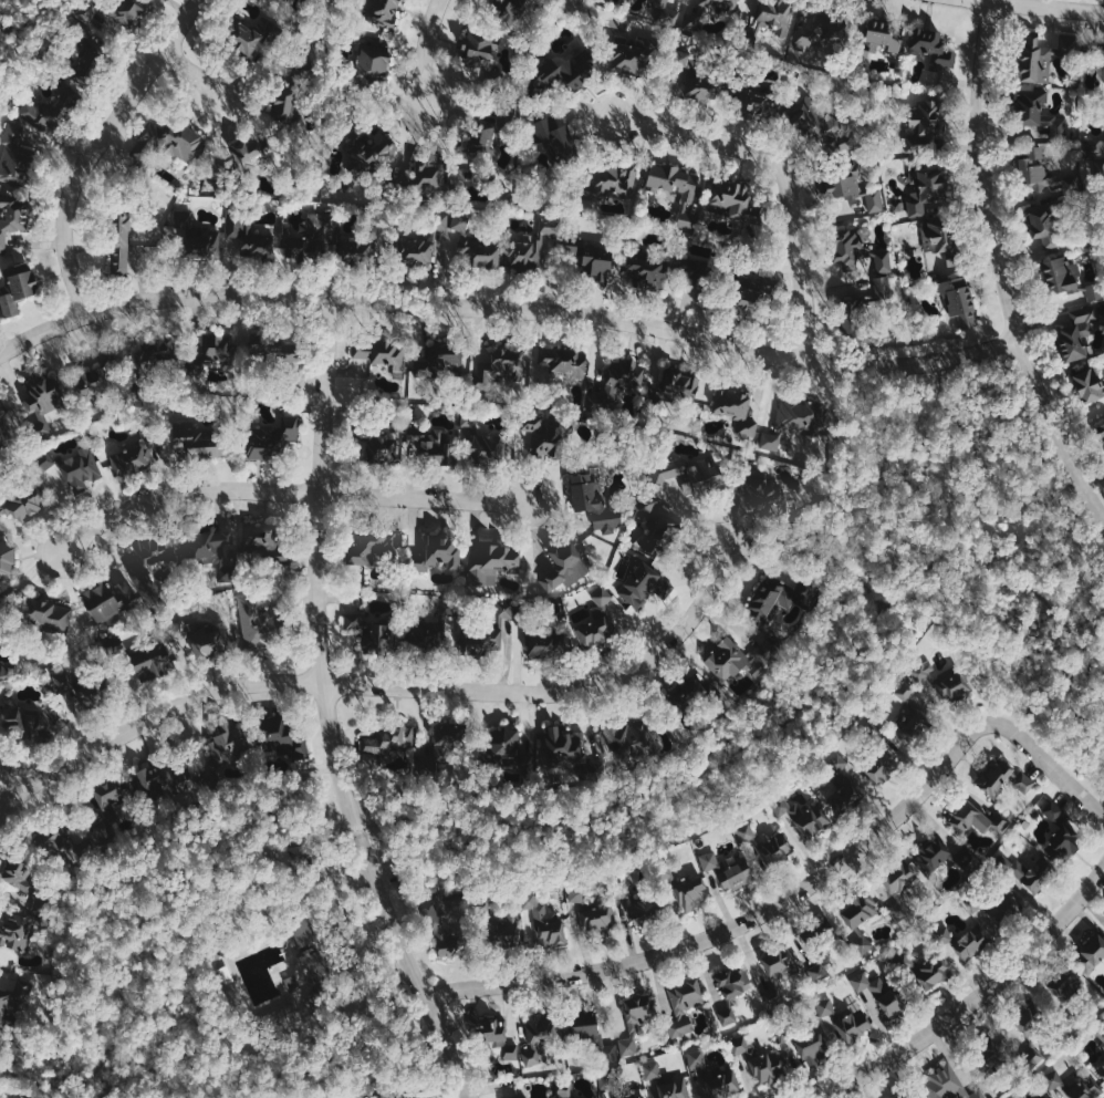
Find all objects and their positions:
building: (283, 1)
building: (722, 6)
road: (1044, 6)
building: (382, 12)
road: (9, 13)
building: (509, 13)
building: (115, 14)
building: (665, 14)
building: (775, 15)
building: (822, 31)
building: (883, 33)
building: (242, 35)
building: (83, 39)
building: (931, 46)
road: (424, 50)
building: (1042, 54)
building: (626, 56)
building: (1103, 56)
building: (480, 58)
building: (84, 62)
building: (371, 69)
road: (195, 73)
building: (563, 74)
building: (698, 90)
building: (754, 102)
building: (49, 107)
building: (282, 107)
building: (1038, 111)
building: (822, 128)
building: (924, 131)
building: (168, 142)
building: (485, 142)
building: (556, 142)
building: (1094, 145)
road: (96, 146)
building: (369, 152)
building: (248, 153)
building: (14, 155)
building: (1098, 166)
building: (1044, 173)
road: (787, 174)
building: (426, 179)
building: (606, 185)
building: (925, 187)
building: (853, 188)
building: (677, 190)
building: (730, 201)
building: (9, 219)
building: (1053, 222)
building: (752, 228)
building: (196, 237)
building: (942, 237)
building: (119, 238)
building: (309, 238)
building: (247, 240)
building: (420, 242)
building: (473, 246)
building: (848, 246)
building: (357, 248)
building: (531, 249)
building: (591, 257)
building: (134, 258)
building: (883, 262)
road: (1000, 268)
building: (643, 270)
building: (1067, 277)
building: (17, 287)
building: (884, 288)
building: (747, 300)
building: (958, 301)
road: (508, 304)
building: (850, 317)
building: (1079, 330)
building: (218, 349)
building: (263, 349)
building: (383, 358)
building: (446, 360)
building: (510, 360)
building: (293, 362)
building: (562, 366)
building: (624, 377)
building: (485, 380)
building: (88, 383)
building: (1089, 383)
building: (679, 384)
building: (42, 403)
building: (738, 414)
building: (794, 416)
building: (468, 419)
building: (6, 423)
building: (1100, 429)
building: (271, 436)
building: (537, 438)
building: (771, 439)
building: (198, 444)
building: (382, 445)
building: (434, 446)
building: (485, 449)
building: (132, 456)
building: (74, 467)
road: (978, 472)
building: (687, 479)
building: (764, 490)
road: (289, 491)
building: (27, 503)
building: (594, 503)
building: (0, 521)
building: (664, 521)
building: (263, 536)
building: (215, 548)
building: (366, 548)
road: (815, 552)
building: (437, 553)
building: (280, 559)
building: (7, 560)
building: (492, 561)
building: (567, 566)
building: (643, 584)
building: (775, 600)
building: (110, 601)
building: (50, 617)
building: (256, 621)
building: (598, 621)
building: (490, 630)
building: (202, 633)
building: (371, 633)
building: (542, 644)
building: (728, 659)
building: (150, 661)
building: (923, 670)
building: (3, 672)
building: (956, 683)
road: (381, 685)
building: (906, 690)
road: (326, 709)
building: (913, 724)
building: (30, 726)
building: (874, 729)
building: (281, 738)
building: (390, 738)
building: (444, 738)
building: (506, 740)
building: (629, 742)
building: (228, 743)
building: (563, 746)
building: (376, 758)
building: (882, 765)
building: (994, 775)
building: (159, 779)
road: (7, 783)
building: (1027, 783)
building: (843, 785)
building: (107, 795)
road: (1100, 799)
road: (581, 810)
building: (803, 816)
building: (969, 817)
building: (746, 830)
building: (1062, 835)
building: (777, 847)
building: (934, 854)
building: (710, 860)
building: (1028, 871)
building: (20, 873)
building: (666, 876)
building: (737, 876)
building: (898, 878)
road: (804, 884)
building: (691, 894)
parking lot: (364, 905)
building: (1006, 905)
building: (860, 909)
building: (591, 912)
building: (545, 921)
building: (442, 926)
building: (504, 930)
building: (302, 931)
building: (19, 932)
park: (298, 935)
building: (820, 935)
building: (862, 941)
building: (966, 941)
building: (1091, 953)
building: (782, 963)
building: (924, 968)
parking lot: (392, 971)
building: (820, 971)
building: (315, 976)
building: (735, 982)
building: (1064, 984)
building: (881, 992)
building: (869, 997)
road: (976, 998)
building: (685, 1005)
building: (6, 1006)
building: (826, 1006)
building: (728, 1016)
building: (636, 1022)
building: (854, 1022)
building: (586, 1026)
building: (539, 1035)
building: (1101, 1035)
building: (491, 1037)
building: (810, 1048)
building: (511, 1052)
building: (1034, 1055)
building: (760, 1059)
building: (1101, 1068)
building: (653, 1069)
building: (716, 1074)
road: (28, 1079)
building: (1075, 1084)
building: (949, 1085)
building: (675, 1088)
building: (565, 1090)
building: (518, 1096)
building: (631, 1096)
building: (906, 1097)
building: (920, 1097)
building: (1019, 1097)

